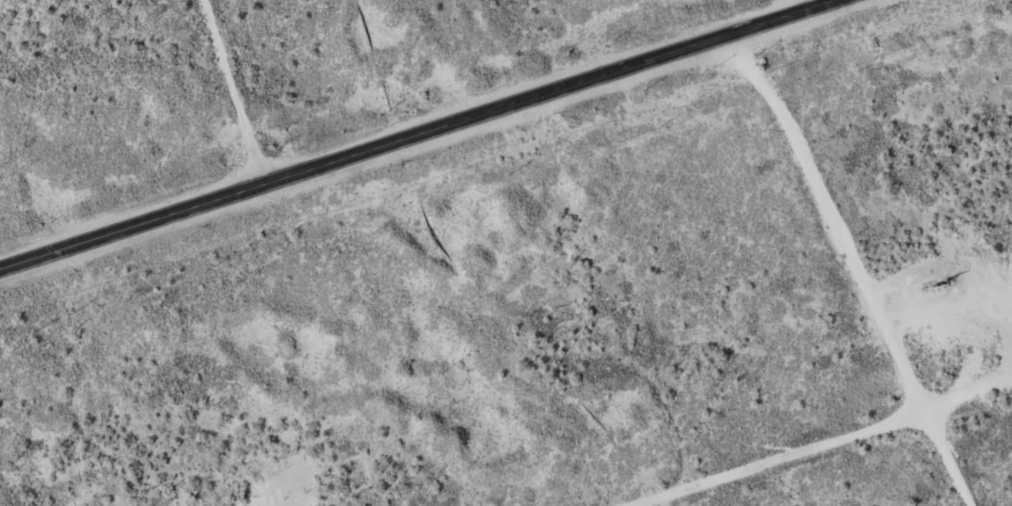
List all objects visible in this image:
road: (225, 70)
road: (407, 131)
road: (854, 259)
road: (806, 472)

